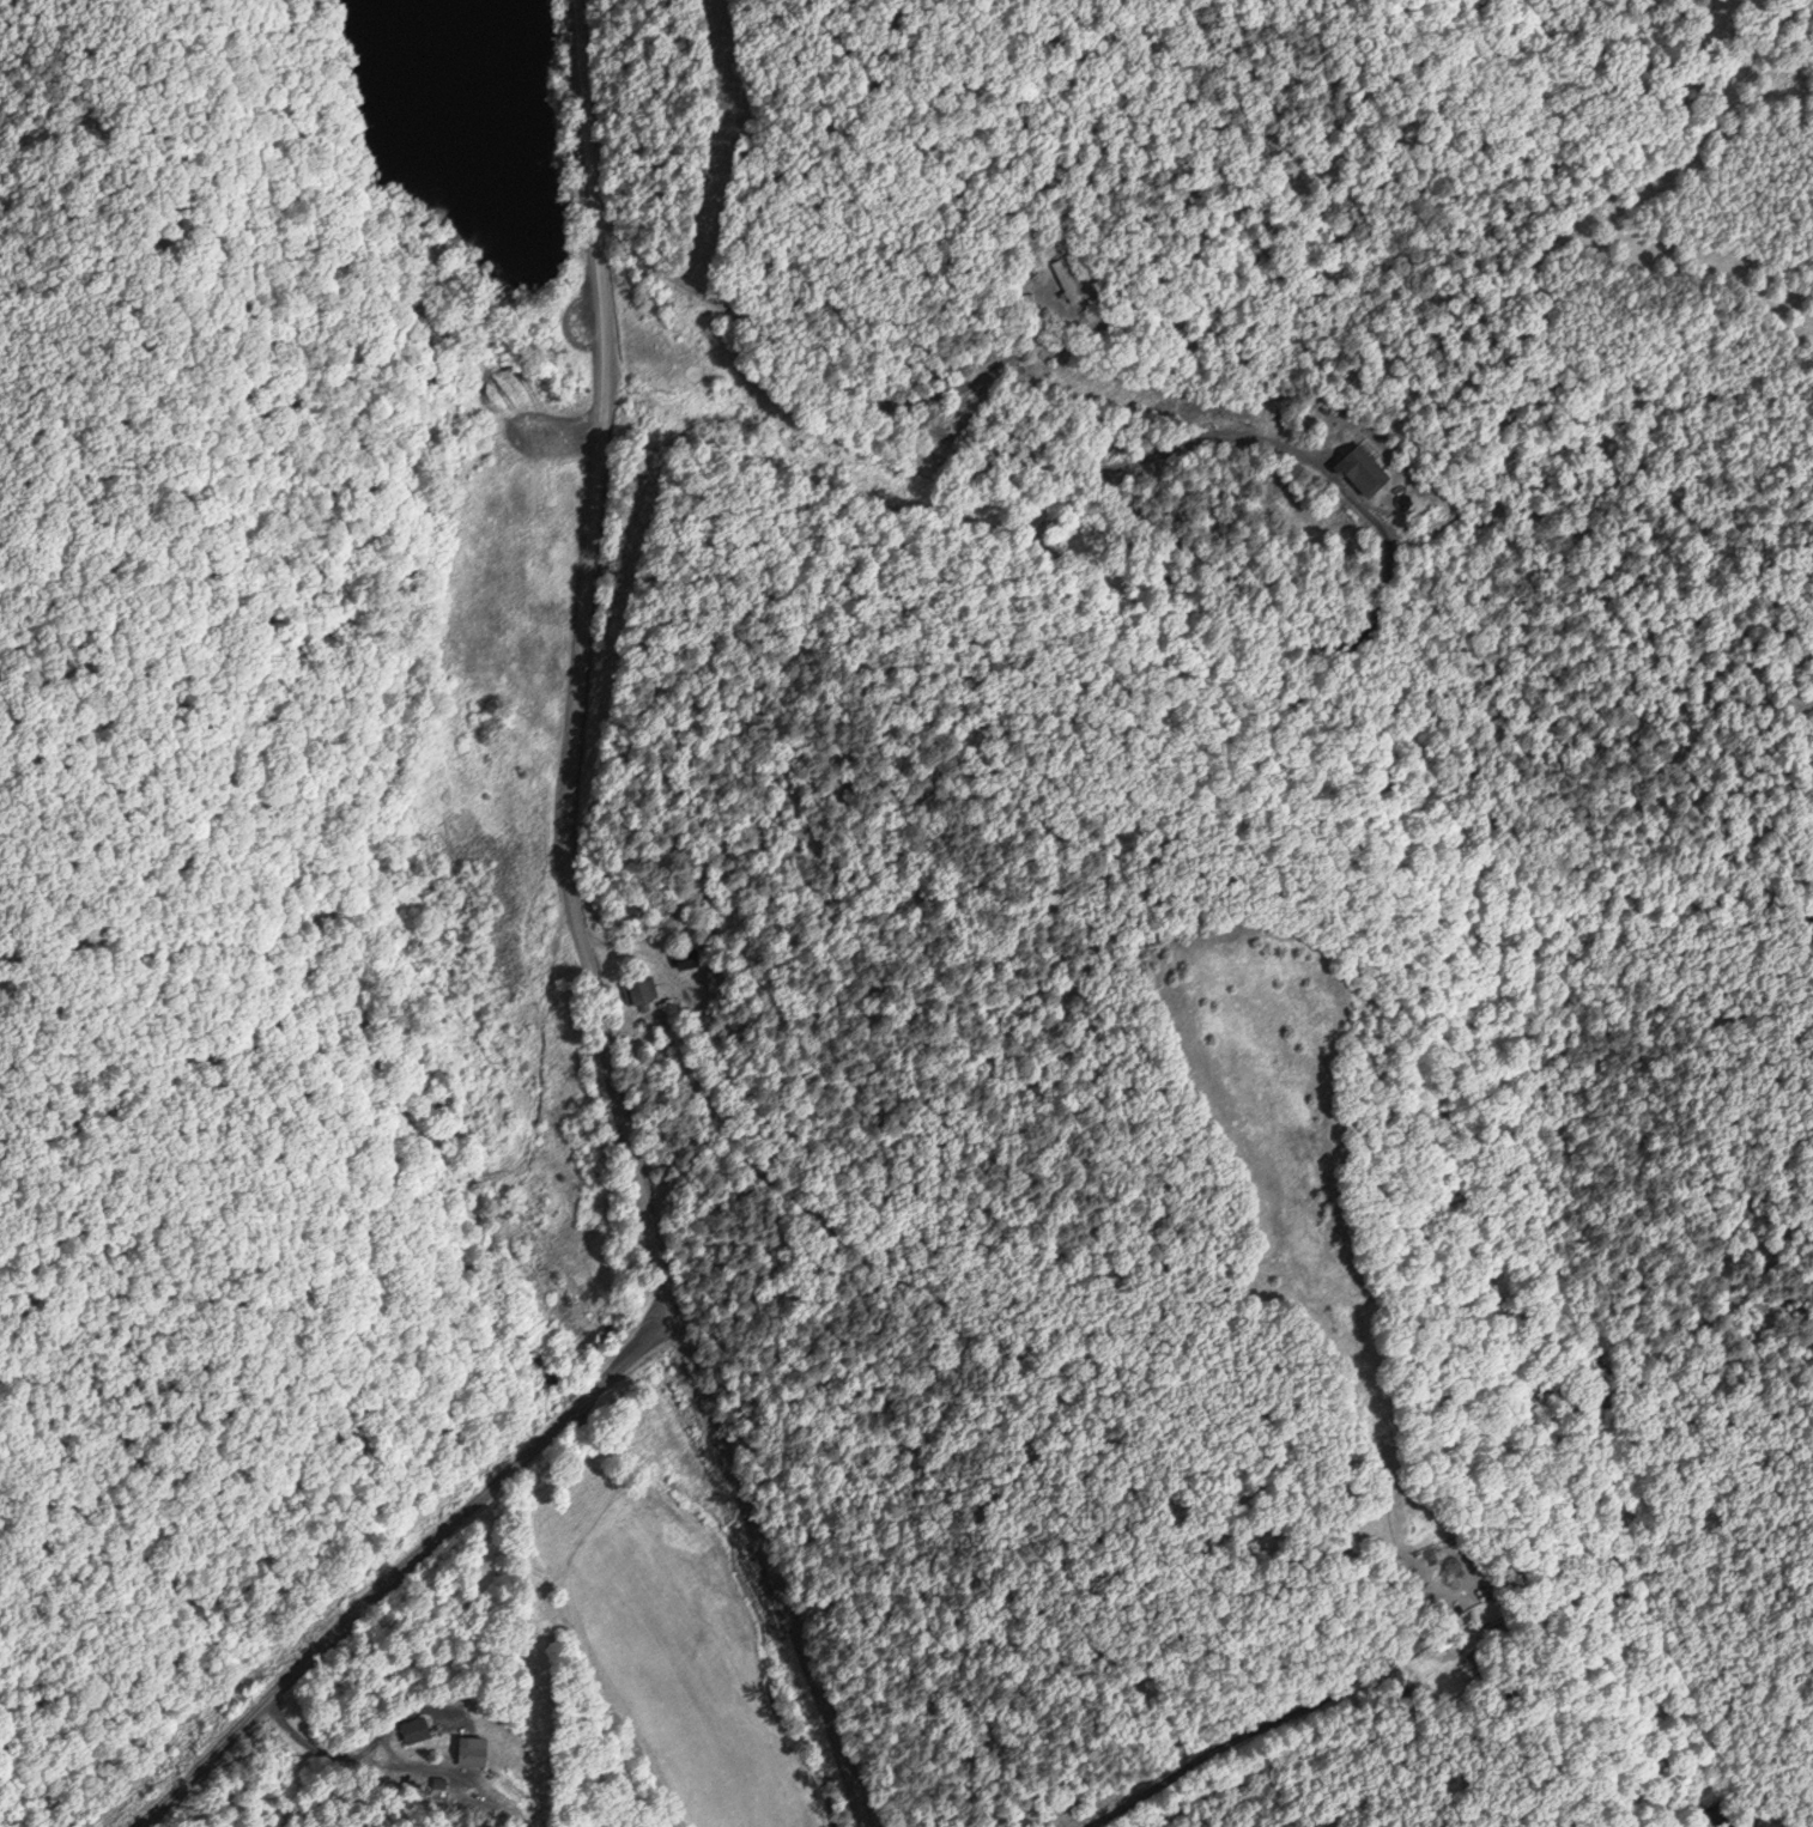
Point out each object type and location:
building: (1066, 279)
park: (795, 301)
road: (814, 353)
road: (1109, 467)
building: (1368, 467)
park: (279, 839)
road: (578, 933)
building: (641, 988)
road: (396, 1567)
building: (416, 1728)
road: (1244, 1730)
building: (477, 1749)

